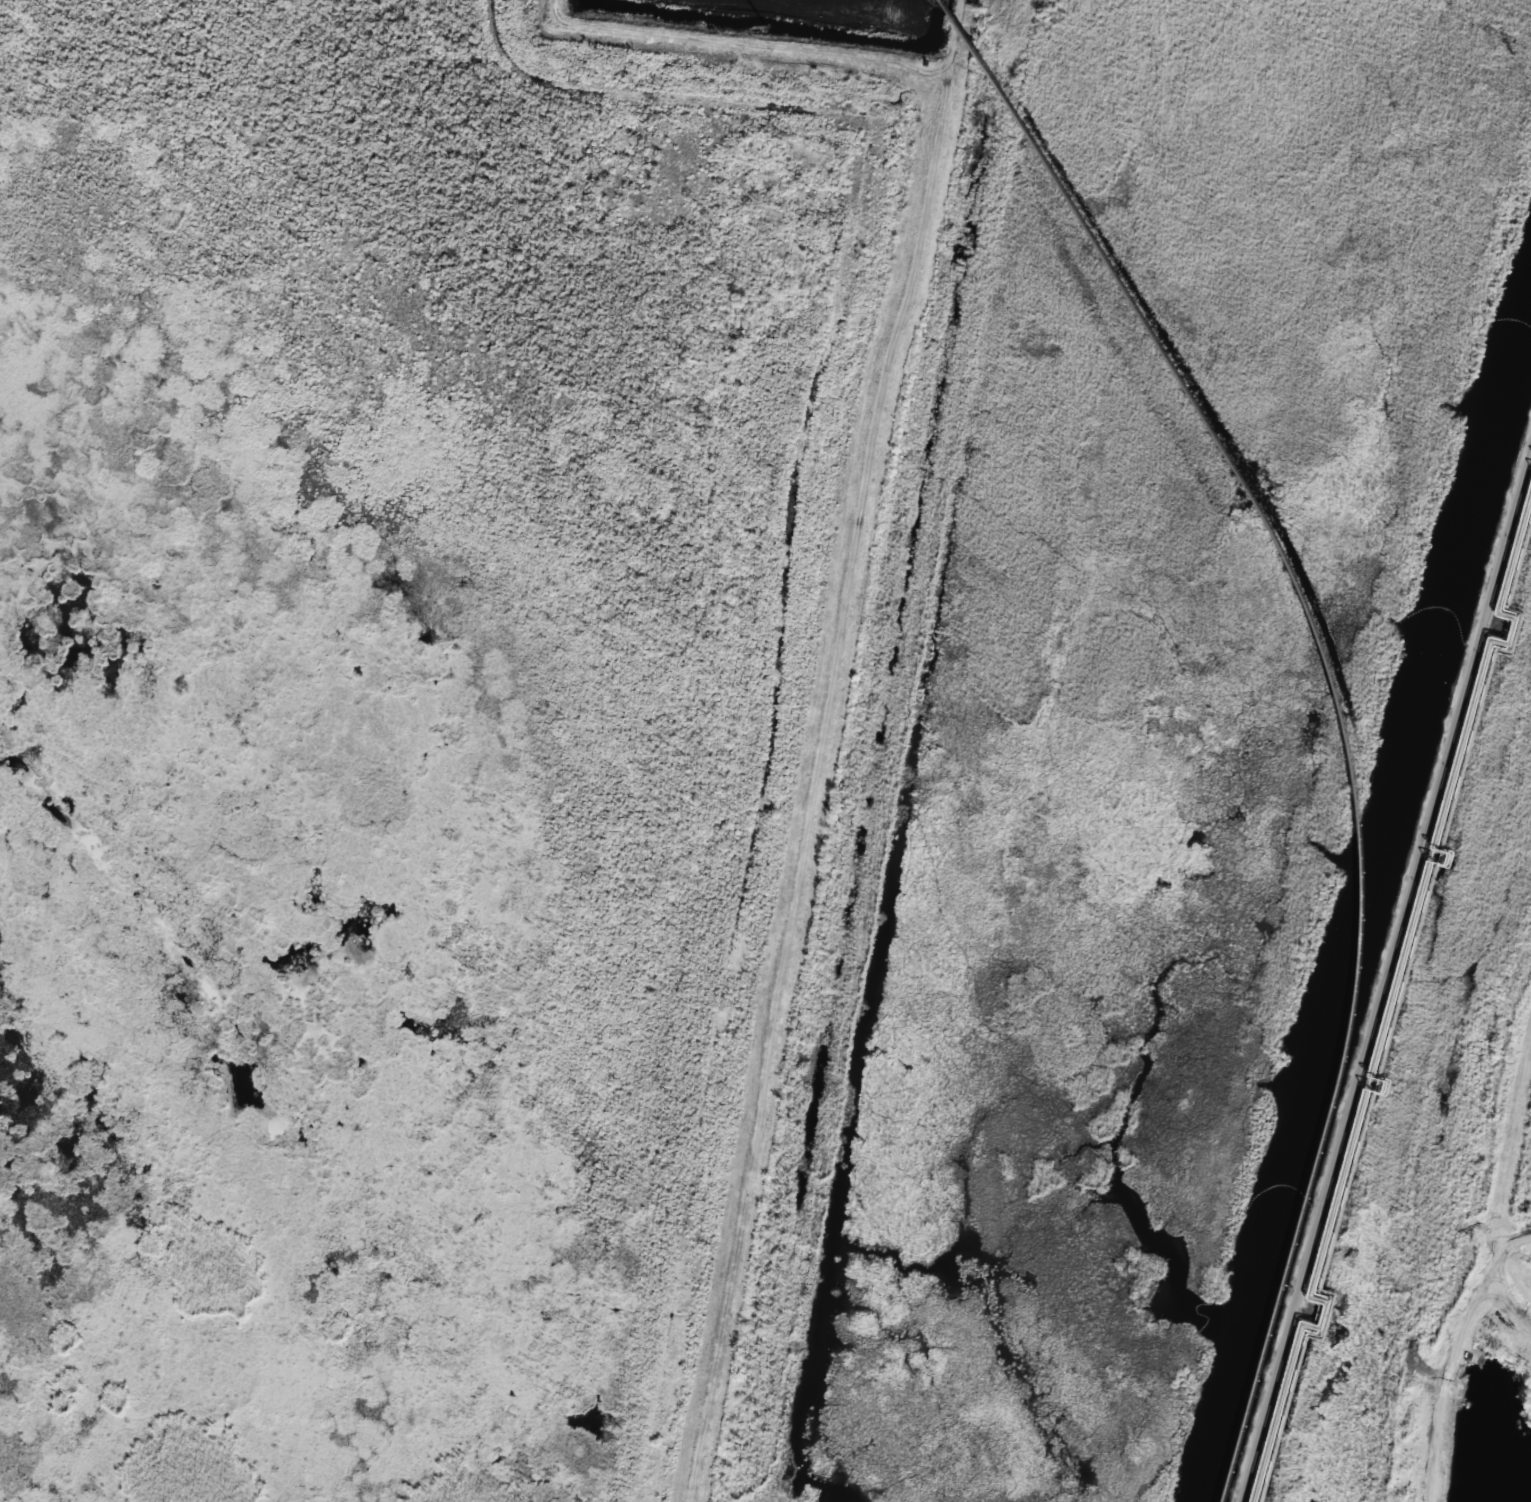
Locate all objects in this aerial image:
road: (1390, 997)

